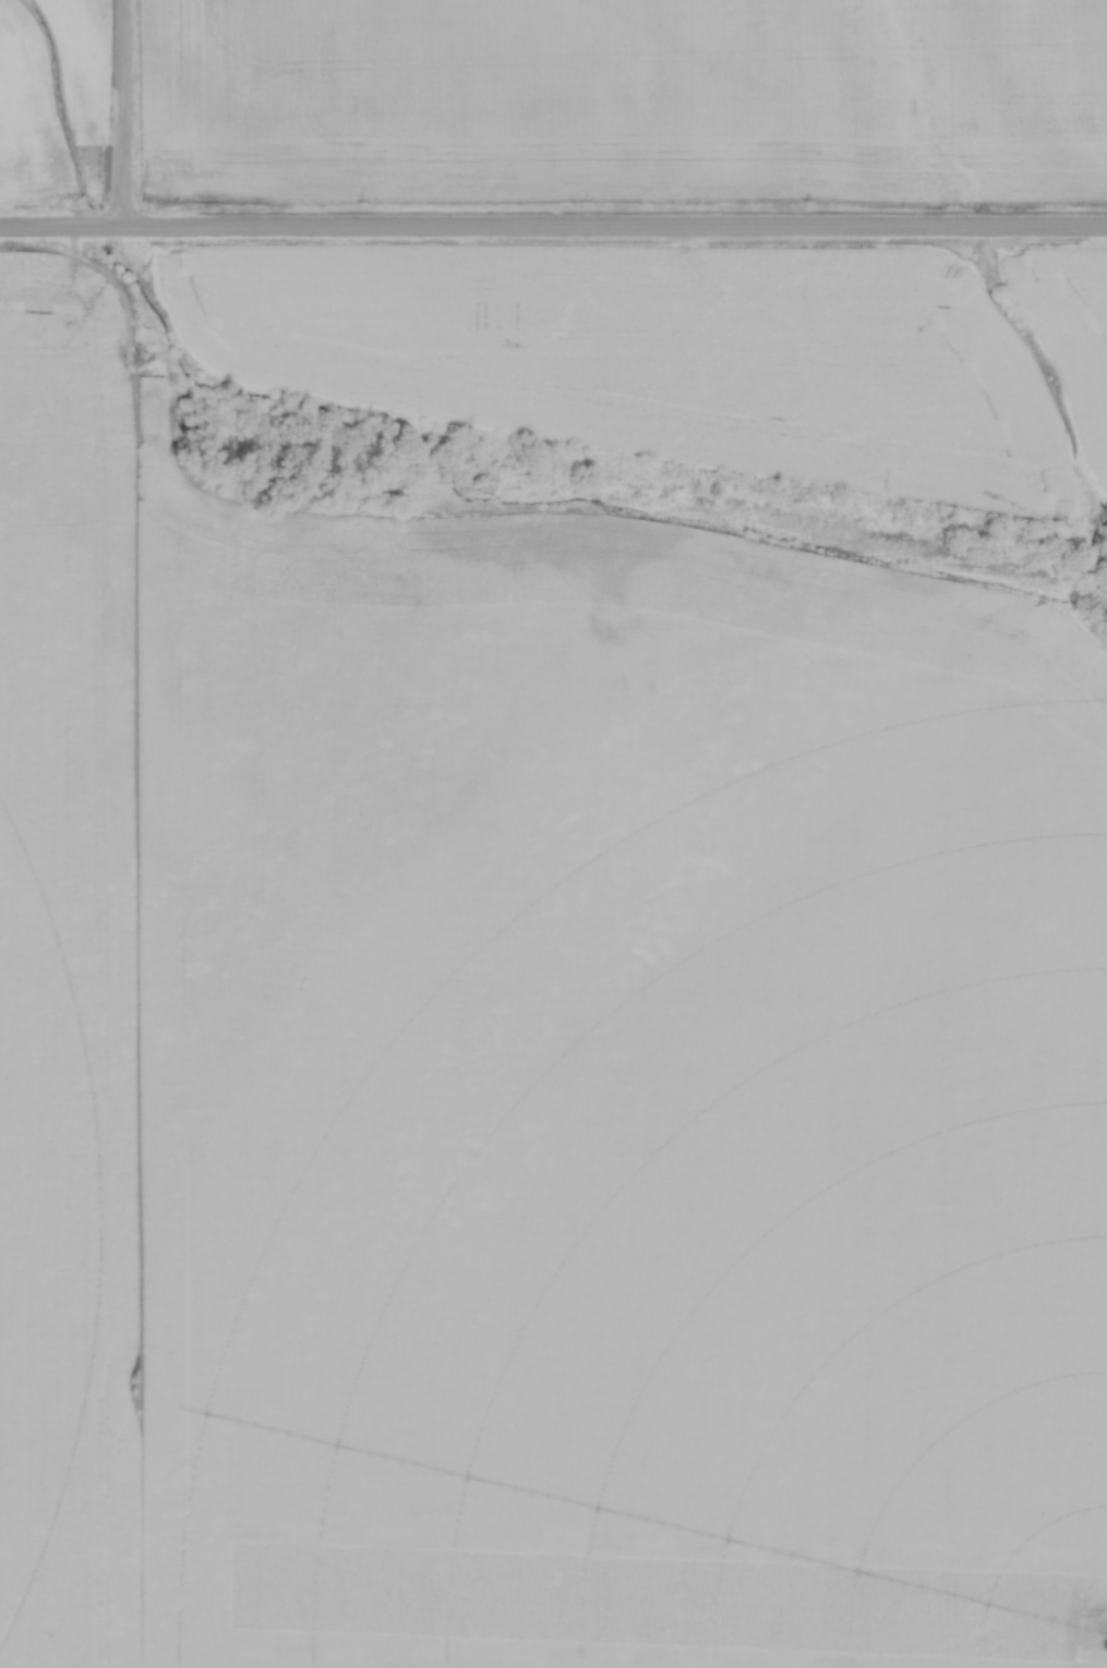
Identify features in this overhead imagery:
road: (119, 113)
road: (553, 228)

